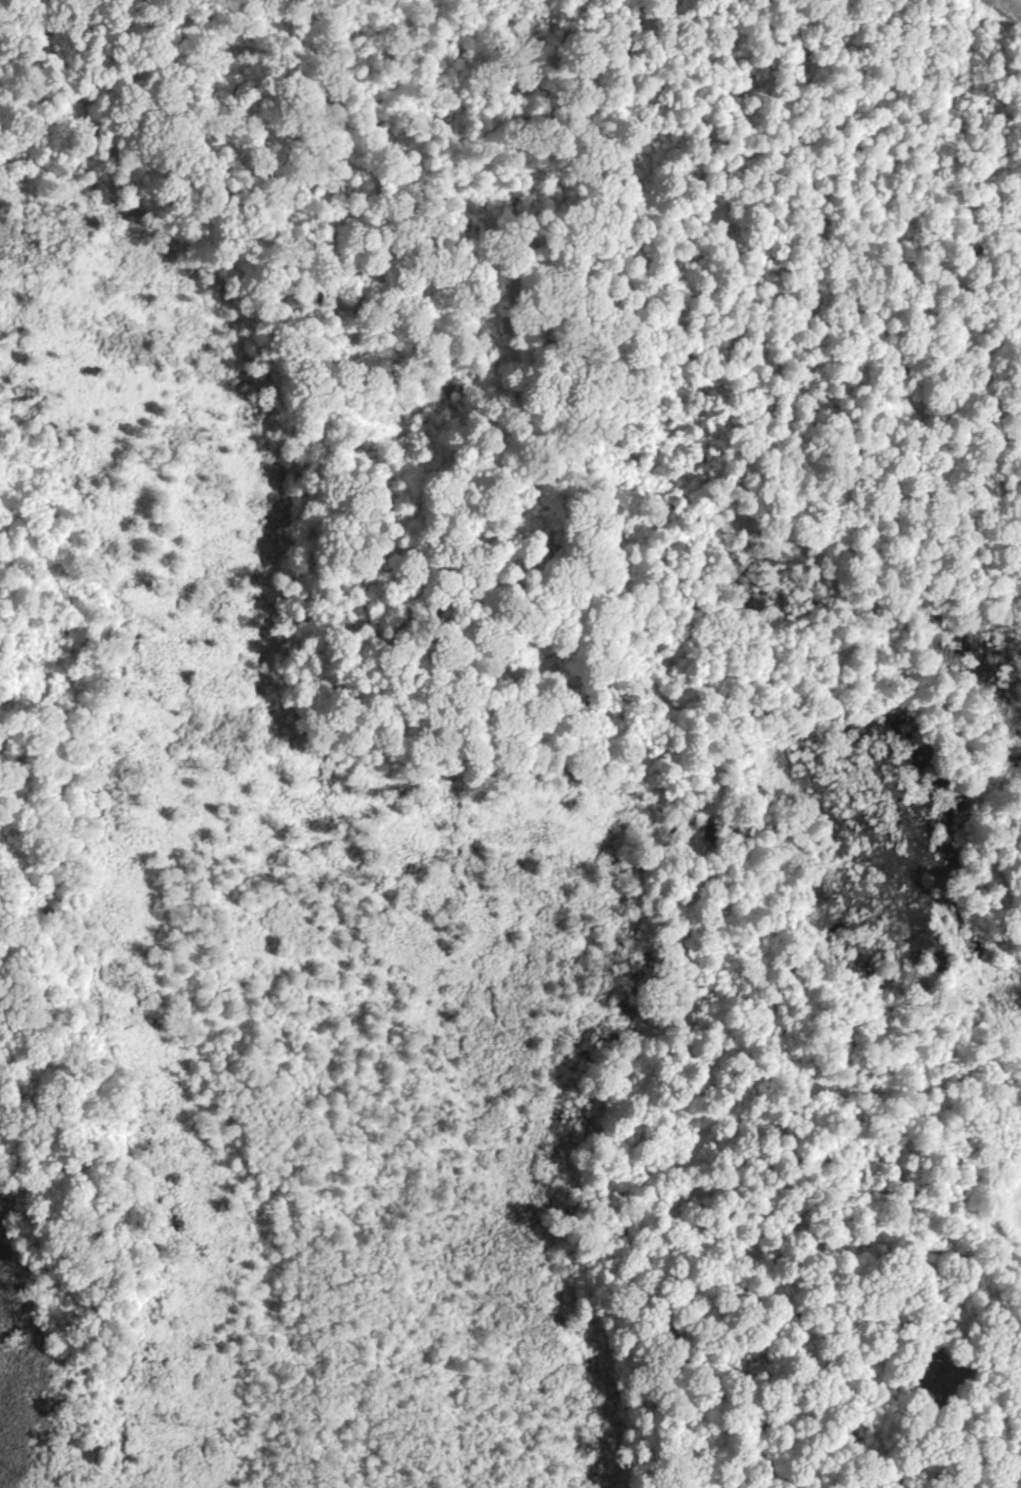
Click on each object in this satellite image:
road: (948, 1403)

